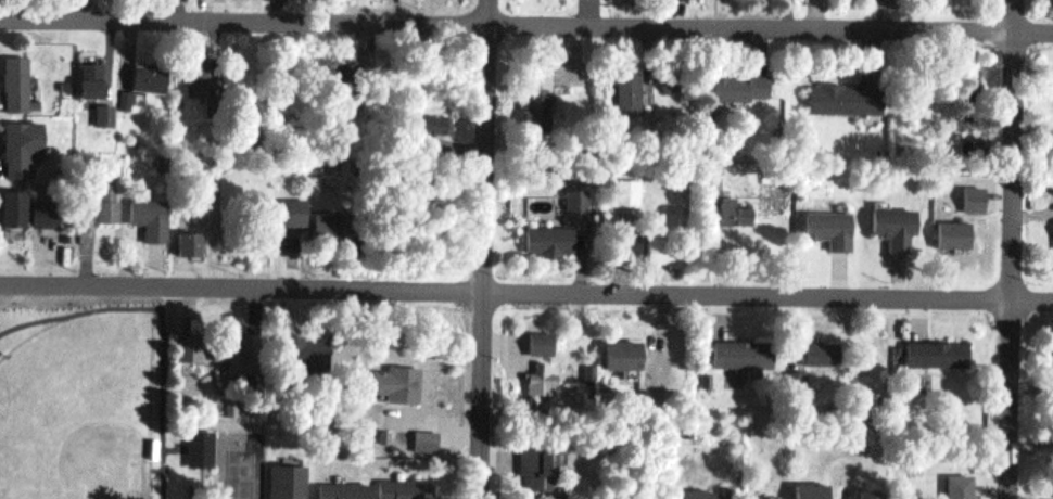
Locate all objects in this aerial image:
road: (525, 24)
building: (194, 63)
building: (145, 72)
building: (87, 73)
building: (13, 78)
building: (64, 78)
building: (969, 78)
building: (741, 84)
building: (537, 88)
building: (122, 92)
building: (631, 92)
building: (848, 95)
building: (101, 110)
building: (433, 119)
building: (17, 140)
building: (627, 190)
building: (104, 192)
building: (579, 196)
building: (1052, 197)
building: (9, 203)
building: (40, 205)
building: (736, 210)
building: (148, 212)
building: (304, 213)
building: (896, 225)
building: (832, 226)
building: (186, 238)
building: (551, 238)
building: (665, 246)
road: (482, 248)
road: (1014, 248)
road: (525, 293)
building: (543, 340)
building: (185, 341)
building: (227, 345)
building: (295, 349)
building: (823, 349)
building: (938, 349)
building: (625, 350)
building: (744, 350)
building: (396, 376)
building: (542, 376)
building: (709, 376)
park: (77, 407)
park: (107, 411)
building: (384, 430)
building: (427, 430)
building: (428, 440)
building: (196, 442)
park: (238, 463)
building: (538, 464)
building: (283, 477)
building: (403, 484)
building: (961, 485)
building: (341, 487)
building: (814, 489)
building: (696, 492)
building: (881, 492)
building: (773, 496)
building: (1048, 497)

